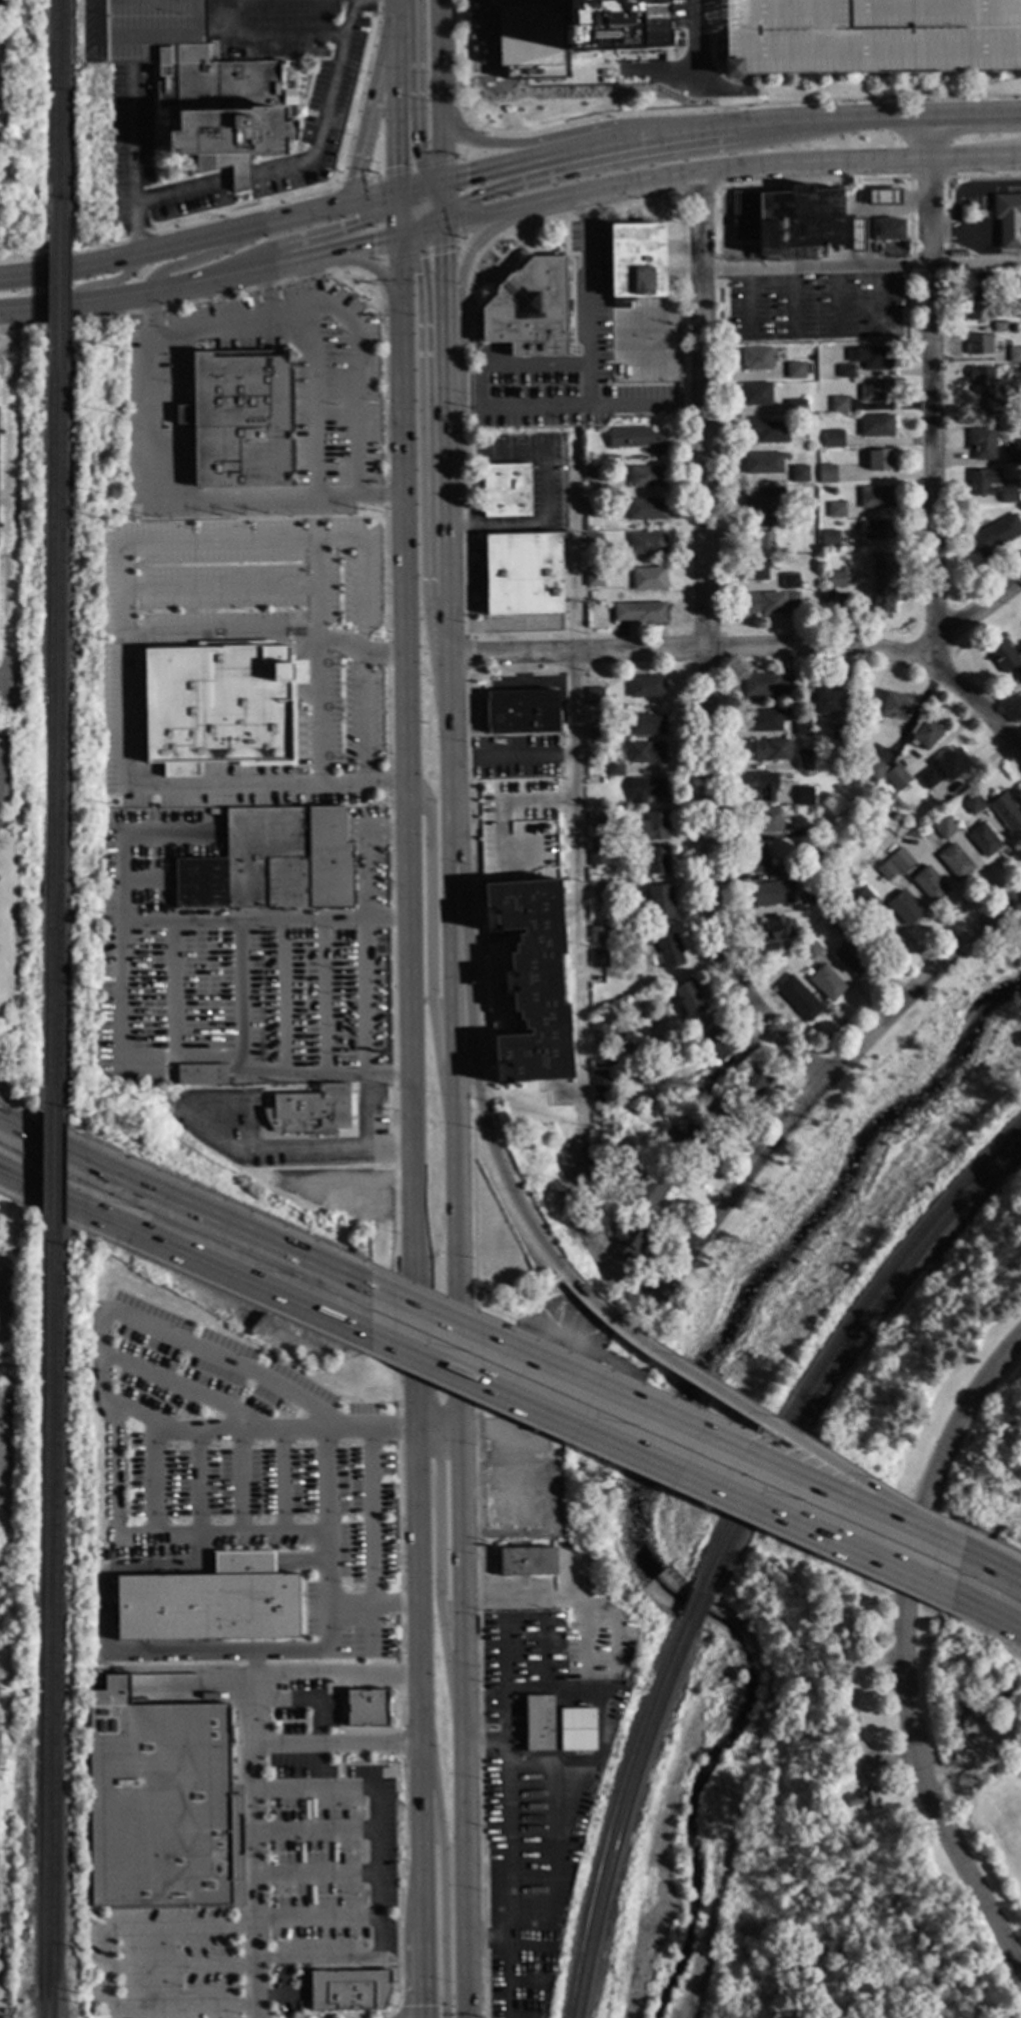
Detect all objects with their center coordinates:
building: (572, 28)
road: (693, 36)
building: (870, 36)
parking lot: (870, 36)
road: (259, 42)
parking lot: (596, 50)
road: (441, 59)
road: (468, 64)
road: (687, 73)
road: (415, 77)
road: (360, 93)
road: (398, 95)
road: (745, 105)
road: (372, 106)
railway: (57, 109)
railway: (67, 109)
building: (223, 110)
road: (974, 116)
road: (876, 119)
road: (720, 130)
road: (927, 137)
road: (133, 139)
building: (162, 142)
road: (466, 142)
road: (524, 144)
road: (441, 149)
road: (974, 156)
traffic signals: (419, 157)
road: (648, 157)
road: (528, 161)
road: (305, 164)
traffic signals: (397, 167)
road: (714, 169)
road: (421, 170)
traffic signals: (466, 175)
road: (981, 176)
road: (926, 178)
road: (812, 180)
road: (432, 182)
road: (355, 183)
road: (410, 188)
road: (435, 190)
road: (697, 191)
road: (425, 193)
road: (442, 194)
building: (883, 197)
road: (365, 199)
traffic signals: (472, 199)
road: (405, 200)
gas station: (875, 200)
road: (397, 202)
road: (457, 203)
road: (421, 204)
road: (431, 206)
road: (406, 210)
road: (439, 210)
road: (573, 213)
road: (415, 216)
road: (426, 218)
road: (443, 218)
road: (439, 219)
road: (474, 219)
building: (1009, 220)
traffic signals: (365, 221)
building: (805, 222)
road: (398, 225)
road: (169, 228)
road: (417, 228)
road: (136, 230)
road: (408, 230)
road: (430, 230)
road: (324, 232)
road: (408, 235)
road: (459, 239)
traffic signals: (374, 244)
road: (168, 246)
road: (468, 250)
road: (330, 253)
traffic signals: (444, 254)
road: (464, 256)
road: (203, 258)
building: (637, 260)
traffic signals: (420, 265)
road: (862, 266)
road: (375, 269)
road: (375, 270)
road: (444, 270)
building: (1020, 279)
road: (106, 283)
building: (983, 283)
railway: (56, 287)
railway: (66, 287)
road: (131, 296)
road: (187, 303)
building: (530, 309)
building: (976, 311)
building: (1001, 326)
road: (209, 331)
road: (422, 335)
building: (980, 344)
building: (1015, 354)
building: (872, 357)
building: (758, 358)
road: (563, 367)
building: (1015, 369)
building: (796, 370)
building: (847, 370)
road: (444, 375)
building: (988, 386)
road: (356, 390)
building: (878, 390)
building: (758, 394)
road: (584, 397)
building: (840, 403)
road: (644, 404)
building: (796, 407)
road: (932, 411)
building: (240, 420)
building: (877, 425)
building: (767, 430)
building: (834, 438)
building: (638, 439)
building: (983, 442)
road: (464, 444)
building: (1014, 457)
building: (880, 459)
building: (764, 463)
building: (593, 472)
building: (799, 473)
building: (828, 473)
building: (649, 475)
building: (984, 481)
building: (507, 490)
building: (1008, 494)
building: (877, 496)
building: (1020, 496)
road: (176, 498)
building: (594, 506)
building: (647, 508)
building: (764, 508)
road: (406, 509)
building: (837, 509)
road: (447, 516)
building: (878, 528)
building: (996, 535)
building: (830, 537)
building: (594, 540)
building: (760, 540)
building: (648, 542)
building: (886, 564)
building: (756, 569)
building: (523, 573)
building: (595, 573)
building: (837, 578)
building: (650, 579)
building: (791, 581)
road: (122, 592)
building: (831, 595)
building: (882, 600)
building: (844, 601)
building: (770, 602)
building: (641, 612)
road: (972, 617)
road: (449, 625)
road: (220, 635)
road: (704, 642)
road: (691, 647)
road: (465, 654)
road: (362, 655)
building: (1005, 657)
road: (7, 661)
building: (767, 685)
building: (648, 686)
building: (596, 696)
building: (826, 700)
building: (896, 705)
road: (980, 705)
building: (221, 706)
building: (522, 712)
road: (363, 719)
building: (765, 720)
building: (647, 724)
building: (803, 726)
building: (597, 731)
building: (839, 732)
building: (926, 733)
road: (1016, 736)
railway: (54, 737)
railway: (63, 739)
building: (770, 750)
building: (647, 752)
road: (524, 758)
building: (806, 759)
building: (953, 764)
building: (615, 767)
building: (876, 769)
building: (898, 777)
building: (930, 777)
building: (766, 786)
building: (647, 788)
road: (1, 795)
building: (805, 795)
building: (974, 803)
road: (500, 809)
building: (214, 812)
building: (1007, 812)
building: (598, 818)
building: (767, 820)
building: (651, 827)
building: (944, 828)
parking lot: (518, 830)
building: (807, 833)
building: (984, 839)
road: (366, 854)
building: (599, 855)
building: (757, 859)
building: (956, 860)
building: (656, 861)
building: (272, 863)
building: (788, 869)
building: (888, 870)
building: (931, 884)
road: (579, 888)
building: (601, 893)
building: (772, 893)
road: (473, 895)
building: (812, 895)
building: (865, 898)
building: (660, 901)
building: (905, 907)
building: (838, 922)
road: (173, 923)
building: (599, 934)
building: (775, 936)
building: (884, 937)
building: (812, 948)
building: (667, 951)
building: (600, 958)
building: (851, 958)
road: (430, 959)
building: (526, 981)
building: (828, 983)
road: (238, 990)
road: (364, 997)
building: (689, 997)
building: (799, 997)
road: (284, 998)
road: (322, 998)
road: (393, 1003)
road: (411, 1025)
building: (600, 1031)
road: (457, 1040)
building: (718, 1040)
road: (202, 1059)
building: (605, 1062)
building: (152, 1068)
building: (200, 1075)
building: (602, 1081)
road: (816, 1082)
building: (754, 1084)
building: (703, 1087)
building: (169, 1101)
building: (711, 1109)
building: (309, 1112)
road: (481, 1113)
road: (367, 1132)
building: (600, 1138)
building: (689, 1142)
road: (276, 1148)
building: (593, 1154)
railway: (51, 1168)
railway: (61, 1172)
building: (587, 1172)
park: (862, 1183)
building: (650, 1190)
building: (629, 1242)
road: (186, 1246)
road: (180, 1275)
railway: (838, 1343)
road: (413, 1350)
railway: (844, 1354)
road: (179, 1383)
park: (952, 1387)
road: (103, 1394)
road: (961, 1414)
road: (450, 1428)
road: (370, 1429)
road: (241, 1430)
road: (426, 1430)
road: (499, 1438)
road: (664, 1458)
road: (281, 1480)
road: (237, 1481)
road: (198, 1482)
road: (649, 1487)
park: (644, 1539)
road: (439, 1545)
building: (525, 1562)
road: (325, 1563)
road: (478, 1565)
building: (676, 1567)
road: (417, 1581)
road: (464, 1585)
road: (571, 1601)
building: (210, 1604)
railway: (692, 1607)
road: (988, 1607)
railway: (702, 1612)
railway: (46, 1619)
railway: (57, 1621)
road: (979, 1635)
road: (583, 1638)
road: (300, 1651)
road: (307, 1702)
building: (571, 1704)
road: (851, 1708)
building: (366, 1709)
building: (538, 1725)
road: (401, 1743)
road: (484, 1744)
road: (339, 1746)
road: (893, 1759)
road: (253, 1761)
road: (960, 1765)
road: (528, 1768)
road: (375, 1792)
road: (928, 1793)
building: (864, 1800)
building: (159, 1803)
railway: (616, 1816)
road: (551, 1818)
railway: (627, 1820)
park: (793, 1826)
park: (793, 1826)
road: (423, 1832)
park: (1006, 1832)
road: (315, 1834)
road: (444, 1873)
road: (316, 1877)
road: (466, 1880)
road: (402, 1883)
road: (860, 1893)
road: (317, 1916)
road: (183, 1930)
road: (539, 1930)
road: (506, 1931)
road: (486, 1942)
road: (338, 1956)
road: (183, 1969)
road: (110, 1970)
road: (425, 1975)
road: (305, 1978)
building: (348, 1992)
road: (281, 1998)
road: (184, 2008)
road: (395, 2014)

